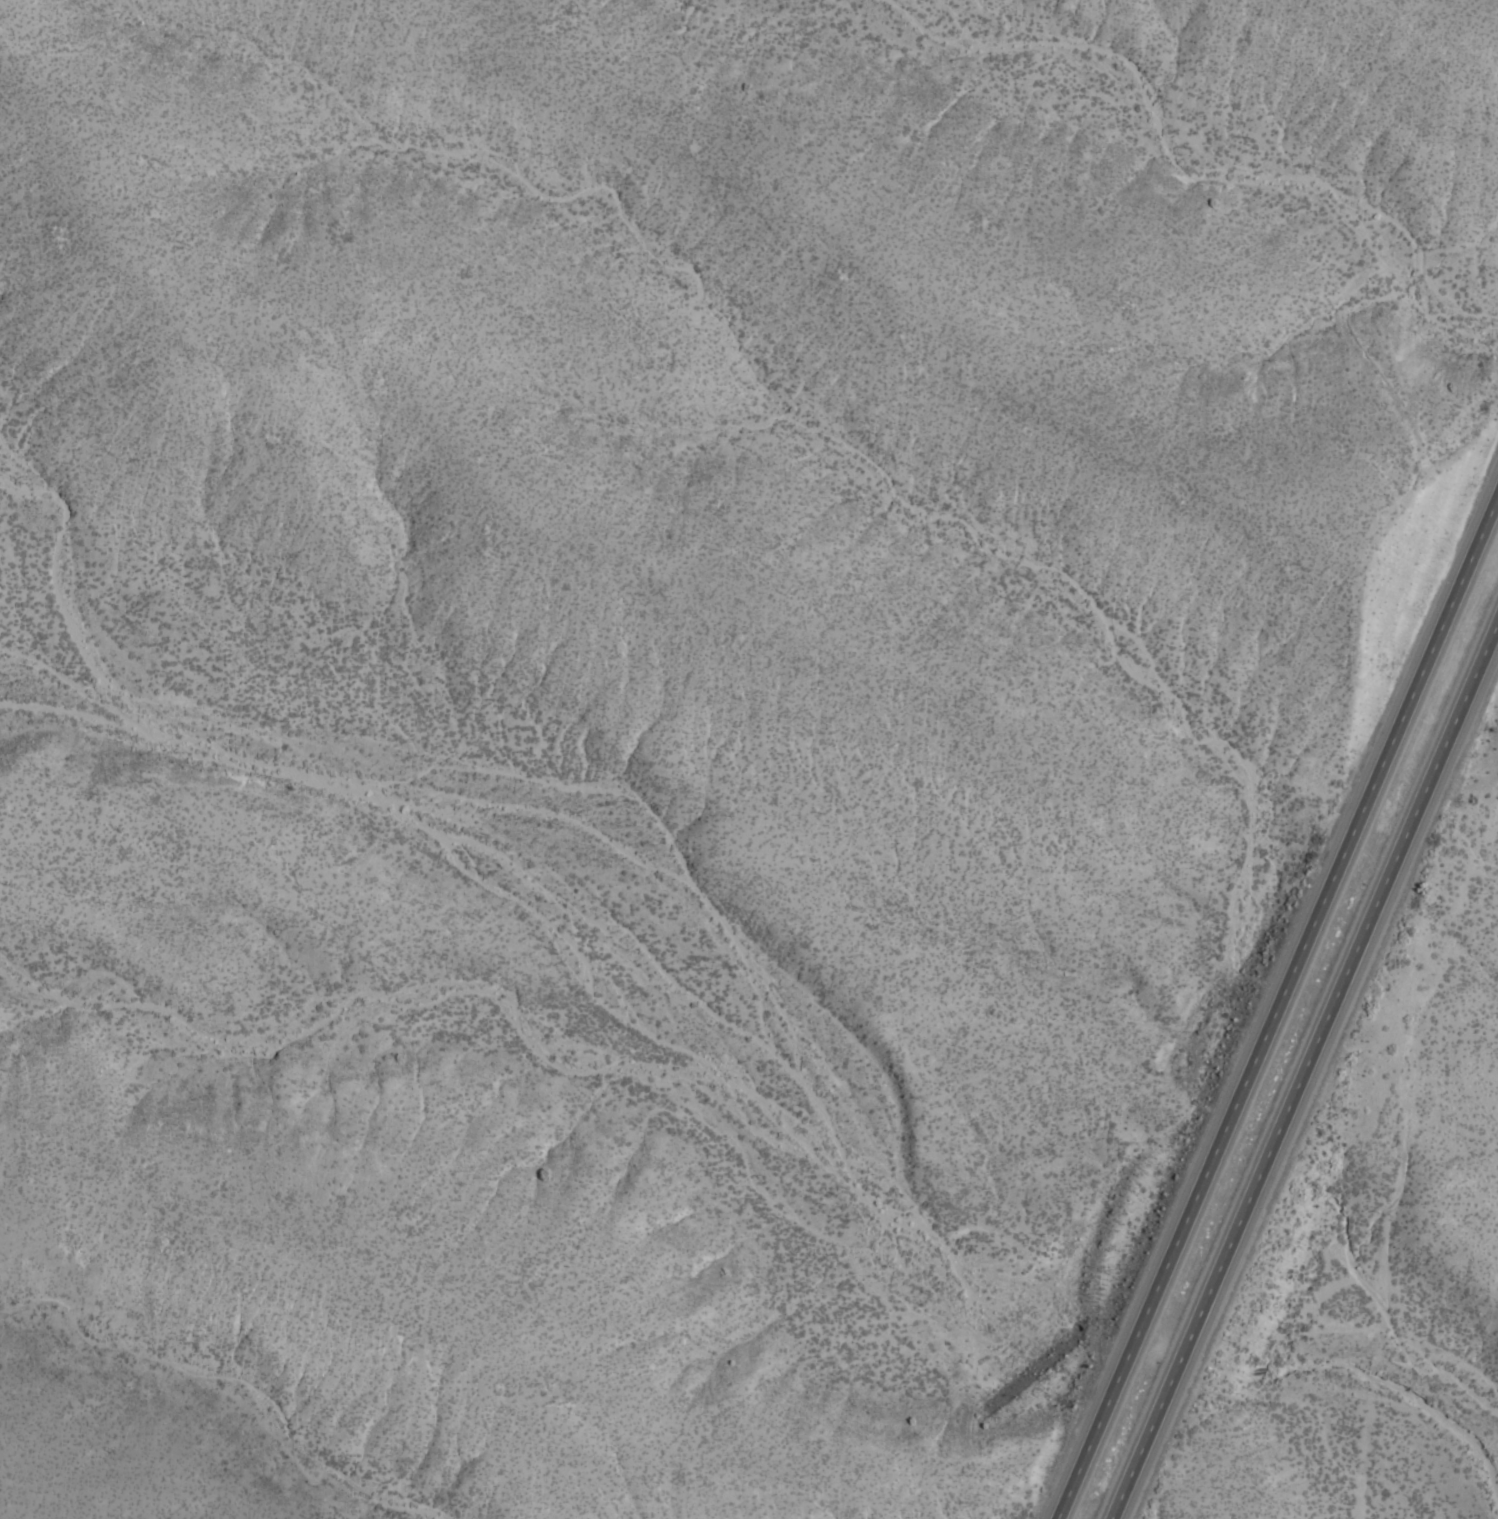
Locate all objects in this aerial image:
road: (1278, 1007)
road: (1305, 1071)

